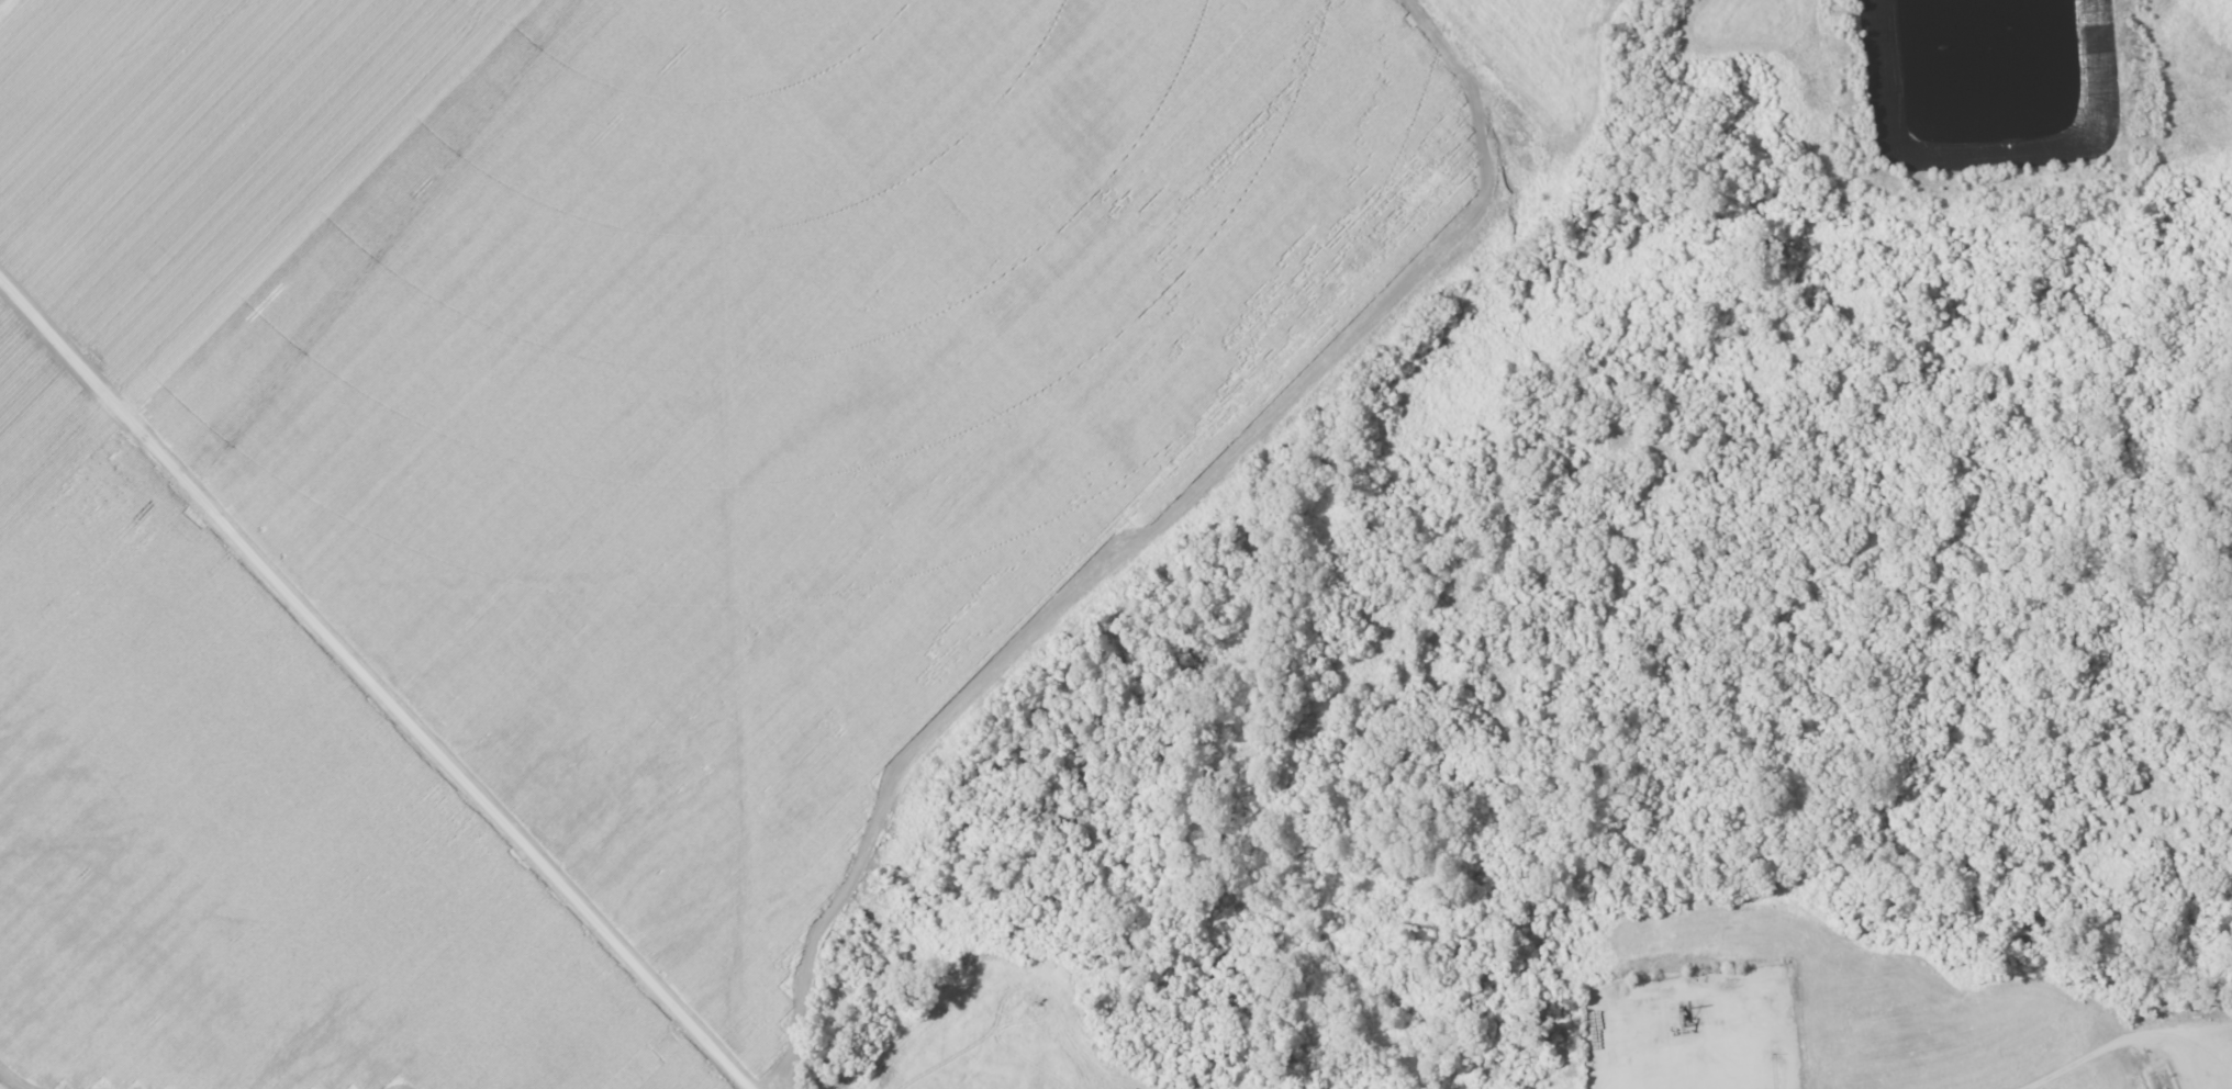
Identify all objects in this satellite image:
road: (375, 691)
road: (2195, 1014)
road: (2164, 1047)
road: (2074, 1059)
chimney: (2153, 1075)
chimney: (2157, 1086)

